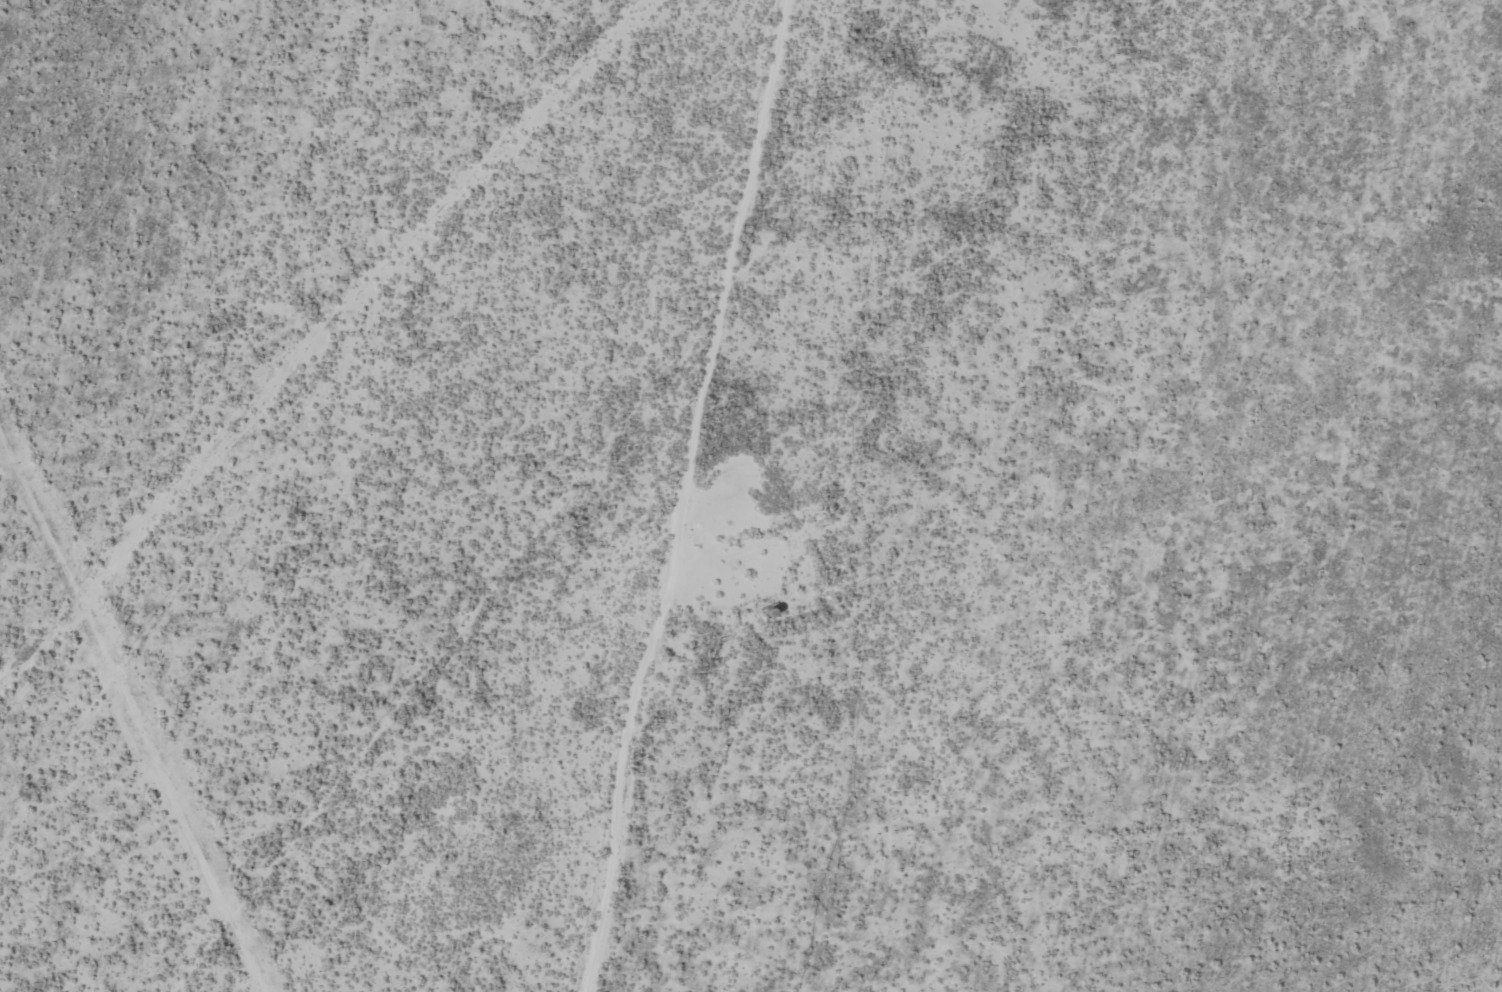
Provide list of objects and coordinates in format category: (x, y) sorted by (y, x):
road: (697, 503)

